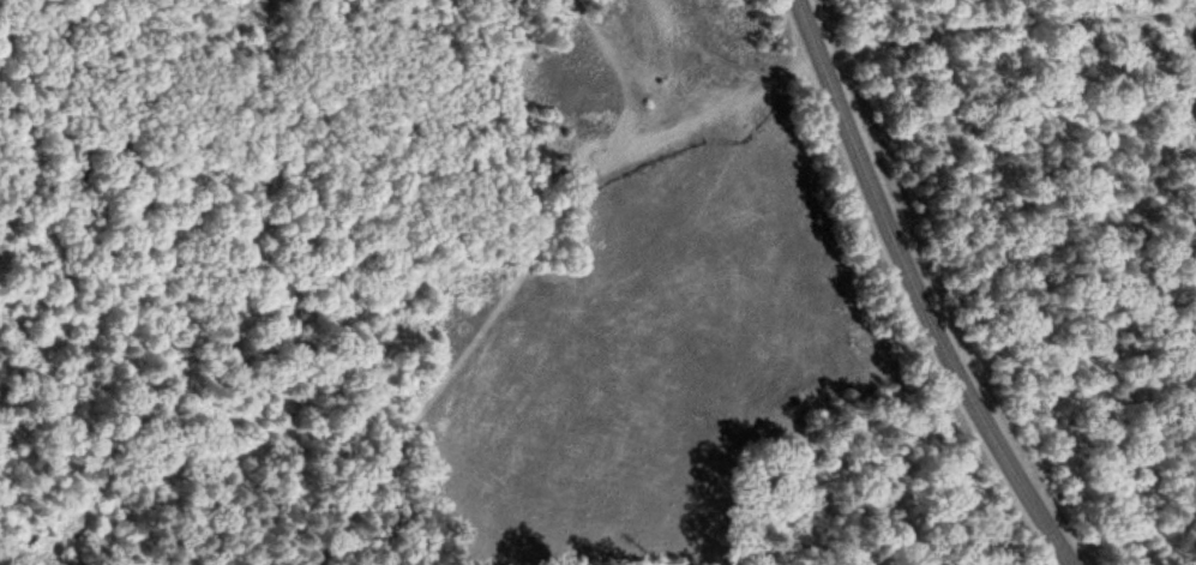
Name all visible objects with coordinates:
road: (1006, 26)
road: (533, 258)
road: (916, 291)
road: (22, 553)

